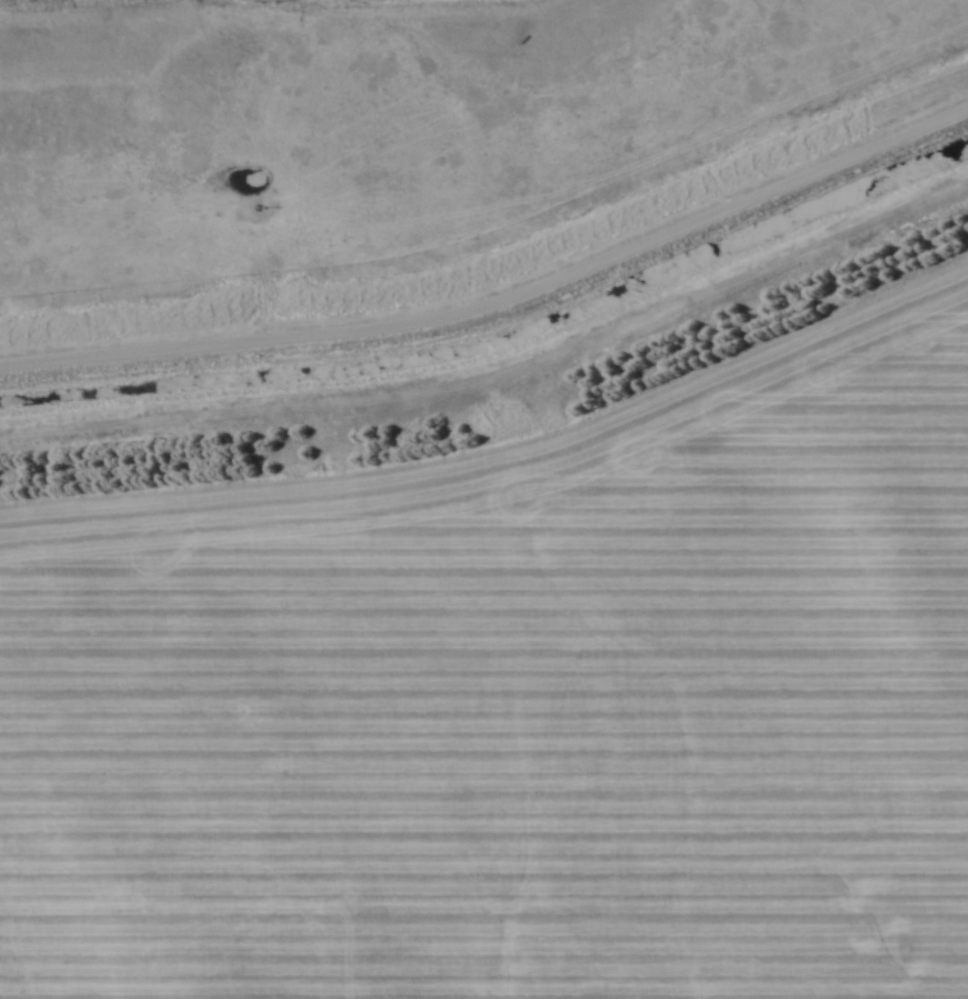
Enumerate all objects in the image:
road: (500, 304)

